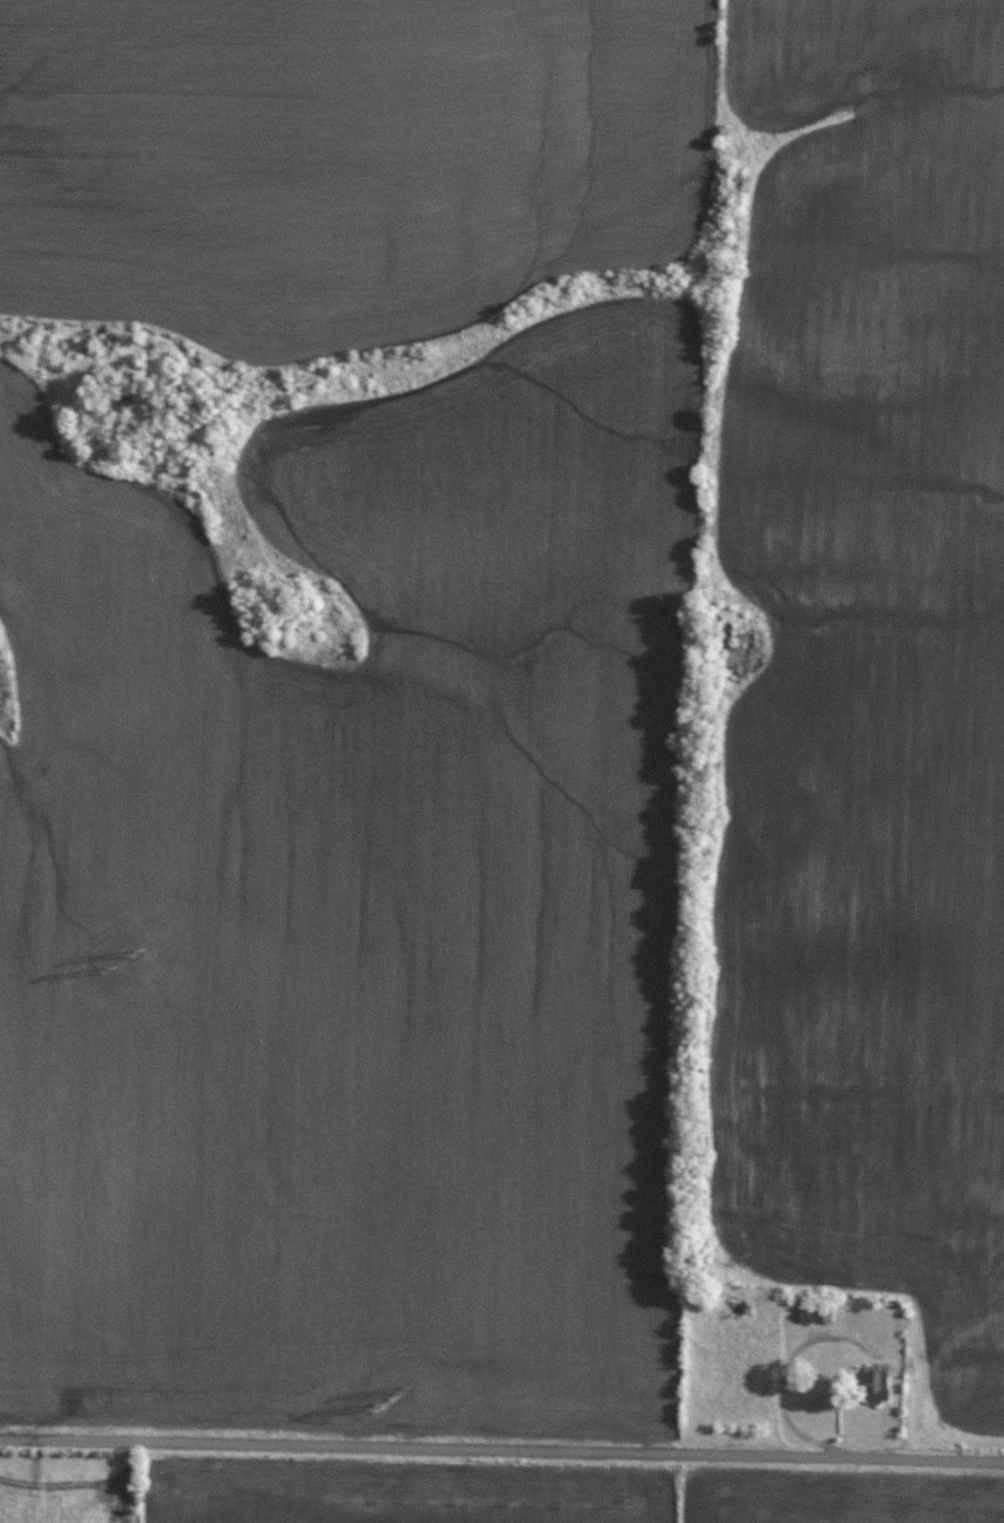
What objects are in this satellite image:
power tower: (134, 951)
power tower: (102, 968)
building: (814, 1315)
building: (876, 1383)
power tower: (402, 1388)
road: (786, 1401)
power tower: (370, 1405)
road: (502, 1447)

